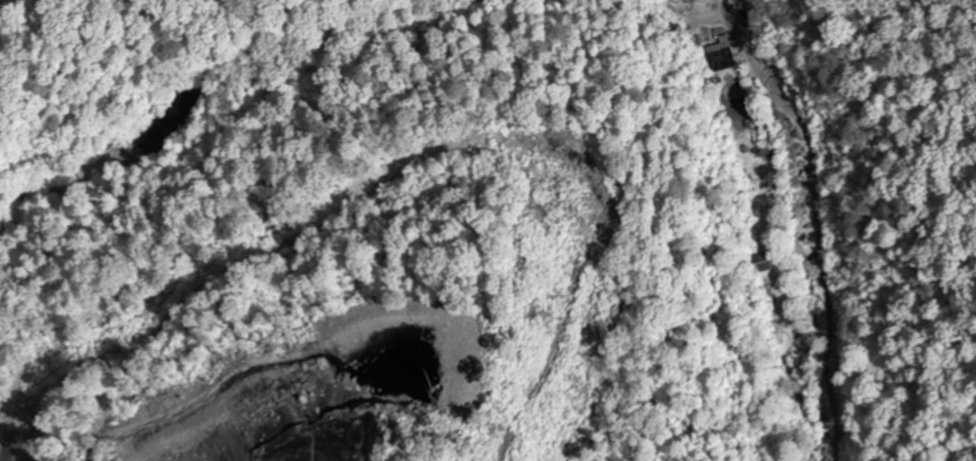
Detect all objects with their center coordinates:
road: (715, 18)
building: (666, 21)
building: (720, 56)
building: (761, 264)

